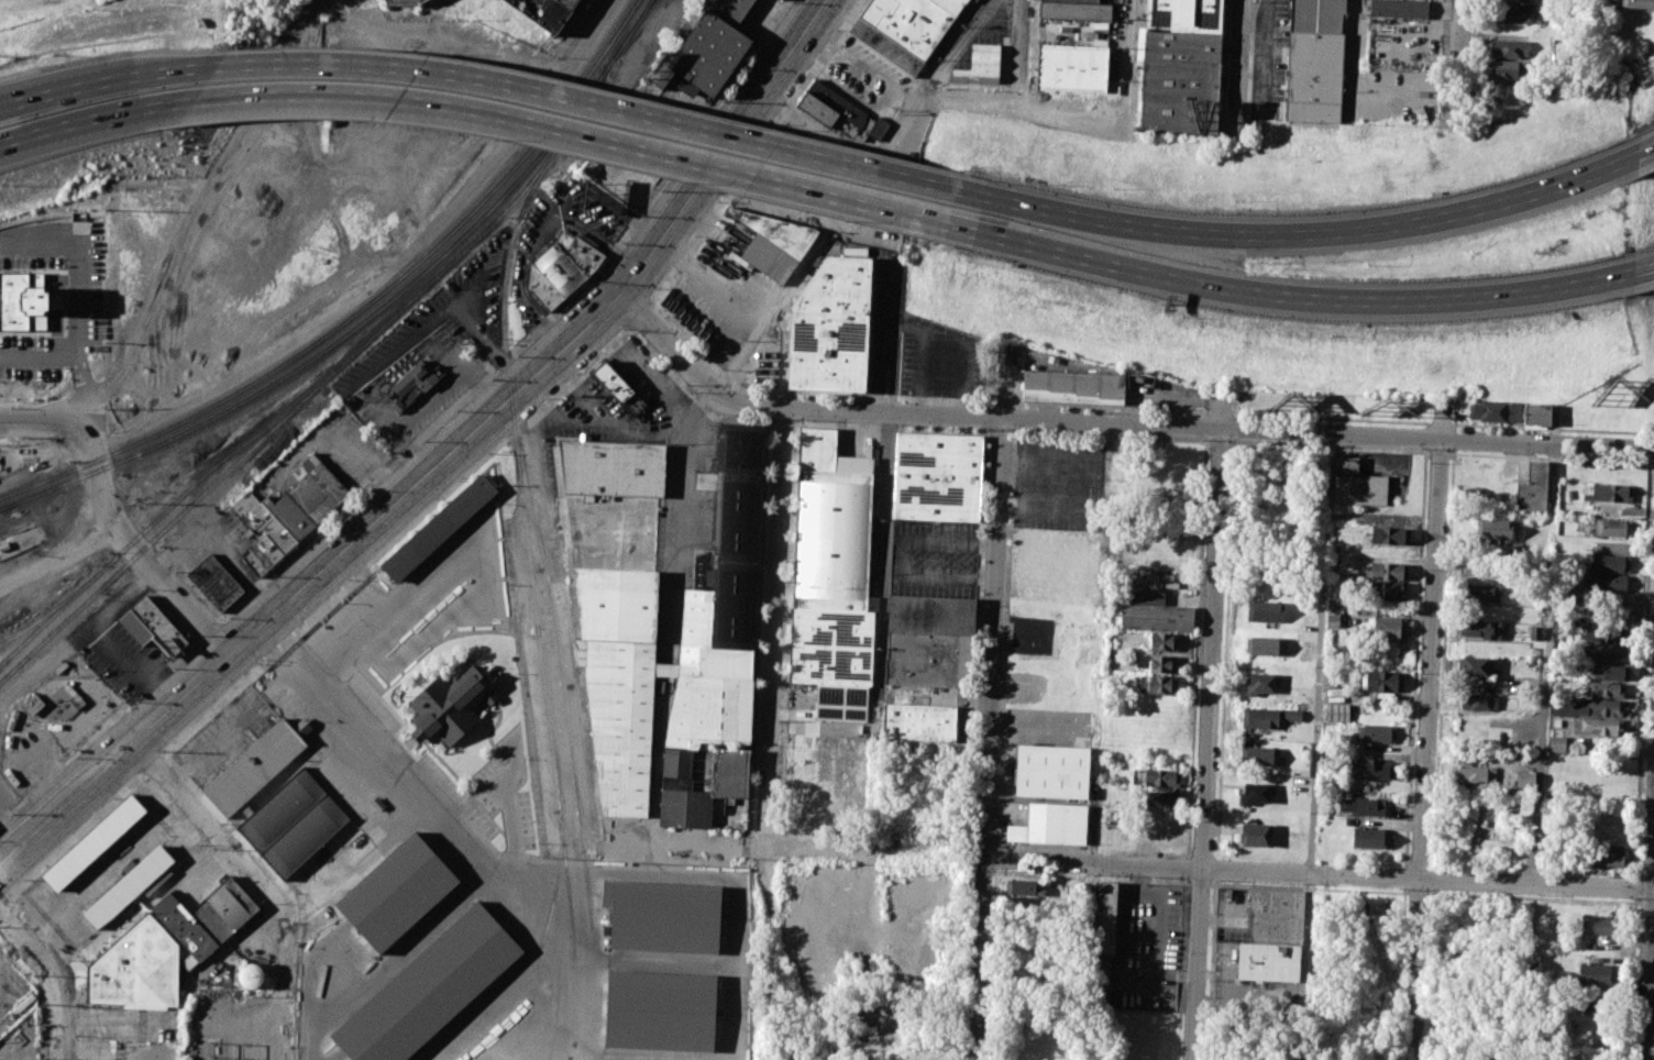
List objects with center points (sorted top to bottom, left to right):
building: (782, 0)
building: (1514, 0)
building: (405, 1)
street lamp: (1251, 1)
building: (1633, 3)
street lamp: (791, 5)
building: (1399, 10)
building: (1074, 11)
building: (547, 13)
building: (1514, 13)
railway: (633, 29)
building: (907, 30)
road: (1023, 43)
road: (1032, 43)
road: (1471, 44)
road: (828, 46)
building: (713, 48)
building: (1510, 48)
road: (1459, 53)
street lamp: (1028, 57)
road: (1249, 60)
building: (1316, 64)
building: (980, 65)
building: (1181, 66)
road: (812, 67)
street lamp: (1446, 67)
building: (1073, 69)
building: (1507, 69)
road: (1224, 70)
road: (1237, 70)
road: (873, 73)
road: (177, 76)
road: (907, 91)
road: (67, 93)
road: (863, 101)
street lamp: (724, 102)
building: (831, 111)
road: (1079, 112)
road: (100, 113)
road: (589, 113)
street lamp: (1245, 113)
road: (577, 146)
road: (1645, 150)
road: (757, 153)
road: (852, 196)
railway: (508, 218)
railway: (481, 228)
road: (1300, 235)
building: (774, 243)
railway: (435, 247)
railway: (444, 253)
road: (75, 266)
building: (562, 269)
road: (1638, 276)
building: (703, 295)
road: (1280, 300)
building: (25, 301)
building: (686, 309)
road: (640, 316)
building: (831, 327)
street lamp: (622, 330)
building: (784, 340)
road: (482, 341)
parking lot: (916, 341)
road: (78, 361)
road: (635, 361)
road: (1017, 375)
road: (1005, 383)
building: (1072, 386)
railway: (316, 388)
building: (410, 388)
road: (479, 388)
building: (619, 389)
road: (687, 391)
road: (804, 395)
road: (373, 400)
road: (1209, 401)
road: (1001, 404)
road: (1111, 409)
building: (1493, 411)
road: (1221, 415)
road: (1455, 415)
building: (1537, 415)
road: (1331, 418)
road: (780, 419)
road: (44, 422)
road: (1440, 423)
road: (890, 424)
road: (1115, 424)
road: (622, 427)
road: (1554, 428)
road: (1000, 429)
road: (1110, 434)
road: (1221, 440)
street lamp: (422, 441)
street lamp: (1255, 442)
road: (1332, 444)
road: (410, 452)
road: (1438, 452)
road: (1551, 457)
street lamp: (1596, 459)
road: (445, 460)
street lamp: (1427, 462)
railway: (86, 463)
railway: (88, 475)
building: (938, 476)
street lamp: (457, 484)
building: (1357, 484)
parking lot: (1066, 485)
building: (1532, 488)
building: (1610, 492)
building: (309, 499)
railway: (7, 507)
building: (1613, 527)
building: (1493, 528)
building: (439, 529)
building: (263, 534)
building: (1390, 534)
street lamp: (319, 537)
road: (394, 542)
railway: (122, 549)
railway: (527, 550)
road: (140, 556)
road: (884, 557)
parking lot: (934, 557)
road: (60, 560)
building: (1346, 561)
building: (1611, 563)
building: (1387, 571)
street lamp: (1422, 572)
building: (832, 576)
building: (1607, 583)
building: (216, 584)
building: (1389, 589)
building: (1482, 594)
building: (1265, 612)
building: (1156, 614)
railway: (45, 615)
building: (1334, 617)
street lamp: (228, 620)
building: (620, 626)
road: (771, 626)
building: (152, 628)
building: (1387, 628)
building: (1479, 629)
building: (1533, 632)
building: (1601, 634)
road: (76, 638)
building: (930, 640)
building: (1164, 642)
building: (1261, 645)
building: (1605, 651)
building: (1157, 663)
street lamp: (257, 664)
road: (1542, 664)
building: (1475, 665)
building: (1608, 672)
road: (137, 674)
street lamp: (1418, 675)
building: (1381, 682)
building: (1157, 684)
building: (1259, 684)
railway: (564, 688)
building: (1606, 689)
building: (1477, 702)
building: (32, 706)
building: (451, 707)
building: (1584, 707)
building: (1337, 713)
road: (1316, 714)
building: (1292, 715)
building: (1260, 718)
building: (919, 721)
building: (1555, 722)
road: (1210, 725)
building: (1597, 728)
road: (1426, 731)
building: (1377, 733)
road: (988, 739)
building: (1556, 744)
road: (375, 750)
building: (1257, 755)
street lamp: (76, 758)
road: (153, 764)
building: (1369, 768)
building: (255, 770)
building: (1052, 771)
building: (1474, 774)
building: (1161, 777)
building: (1522, 782)
street lamp: (1412, 785)
building: (706, 791)
building: (1255, 793)
street lamp: (112, 797)
building: (1159, 798)
building: (1063, 800)
building: (1365, 805)
road: (18, 813)
road: (202, 819)
building: (294, 824)
building: (1050, 825)
road: (76, 833)
building: (1254, 833)
building: (1368, 837)
road: (686, 839)
building: (93, 843)
road: (826, 846)
building: (1609, 855)
road: (1319, 874)
street lamp: (22, 877)
railway: (556, 883)
building: (126, 887)
building: (1025, 887)
street lamp: (1398, 892)
street lamp: (1468, 892)
building: (398, 894)
street lamp: (1539, 895)
road: (4, 899)
street lamp: (1630, 901)
building: (224, 910)
road: (787, 912)
building: (664, 916)
building: (1598, 926)
building: (185, 928)
road: (867, 931)
building: (1270, 938)
building: (1103, 943)
building: (189, 962)
road: (1649, 962)
building: (135, 968)
building: (1596, 973)
street lamp: (34, 975)
street lamp: (1404, 976)
road: (48, 978)
building: (429, 987)
building: (1590, 1004)
building: (660, 1011)
street lamp: (45, 1057)

